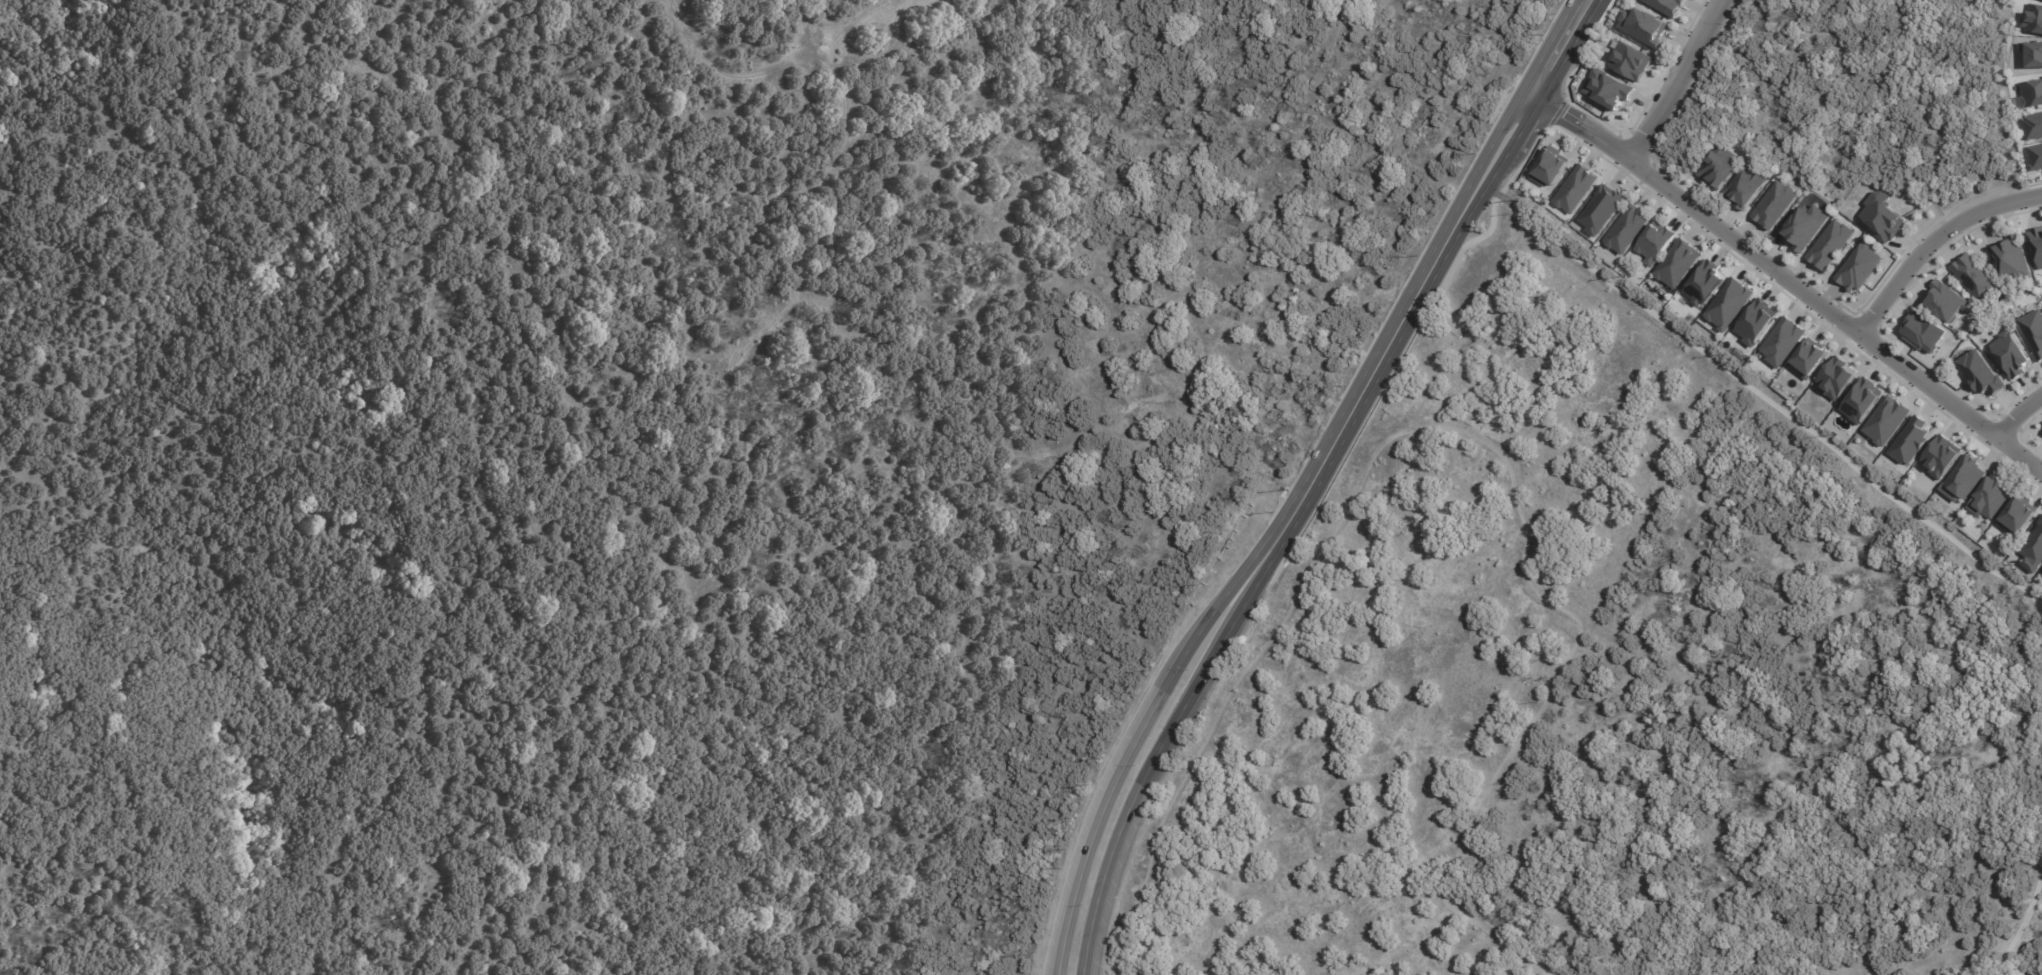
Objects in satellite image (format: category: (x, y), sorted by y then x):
building: (1667, 5)
building: (2033, 18)
building: (1643, 26)
building: (2032, 53)
building: (1630, 60)
road: (1677, 80)
building: (1608, 88)
building: (2032, 93)
building: (2033, 125)
building: (2035, 156)
building: (1551, 166)
building: (1719, 167)
building: (1747, 186)
building: (1575, 188)
building: (1774, 204)
building: (1602, 209)
building: (1882, 215)
building: (1804, 227)
building: (1626, 228)
road: (1934, 240)
building: (2036, 241)
building: (1655, 242)
building: (1830, 244)
road: (1452, 245)
building: (2012, 257)
building: (1678, 262)
building: (1859, 267)
road: (1784, 275)
building: (1977, 278)
building: (1705, 282)
building: (1948, 301)
building: (1729, 303)
building: (1756, 321)
building: (1923, 331)
building: (2033, 331)
building: (1783, 341)
building: (2011, 354)
building: (1810, 357)
building: (1980, 372)
building: (1836, 377)
road: (1764, 391)
building: (1862, 399)
road: (2019, 415)
building: (1886, 420)
road: (1457, 428)
building: (1911, 440)
building: (1941, 456)
building: (1963, 479)
road: (1301, 482)
building: (1990, 498)
building: (2018, 514)
building: (2033, 549)
park: (1426, 632)
road: (1173, 724)
road: (2022, 928)
building: (2031, 971)

